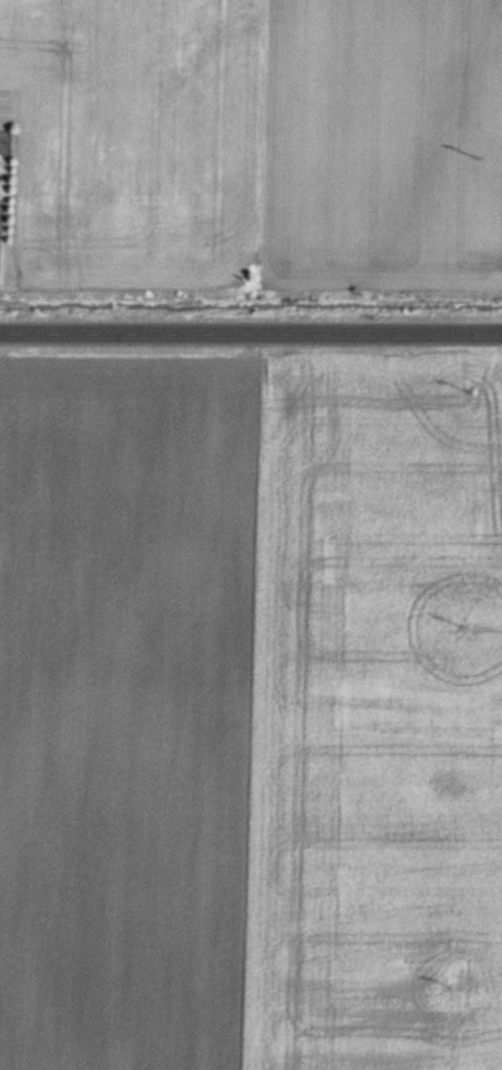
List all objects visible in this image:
power tower: (480, 156)
road: (250, 330)
power tower: (463, 624)
power tower: (448, 987)

